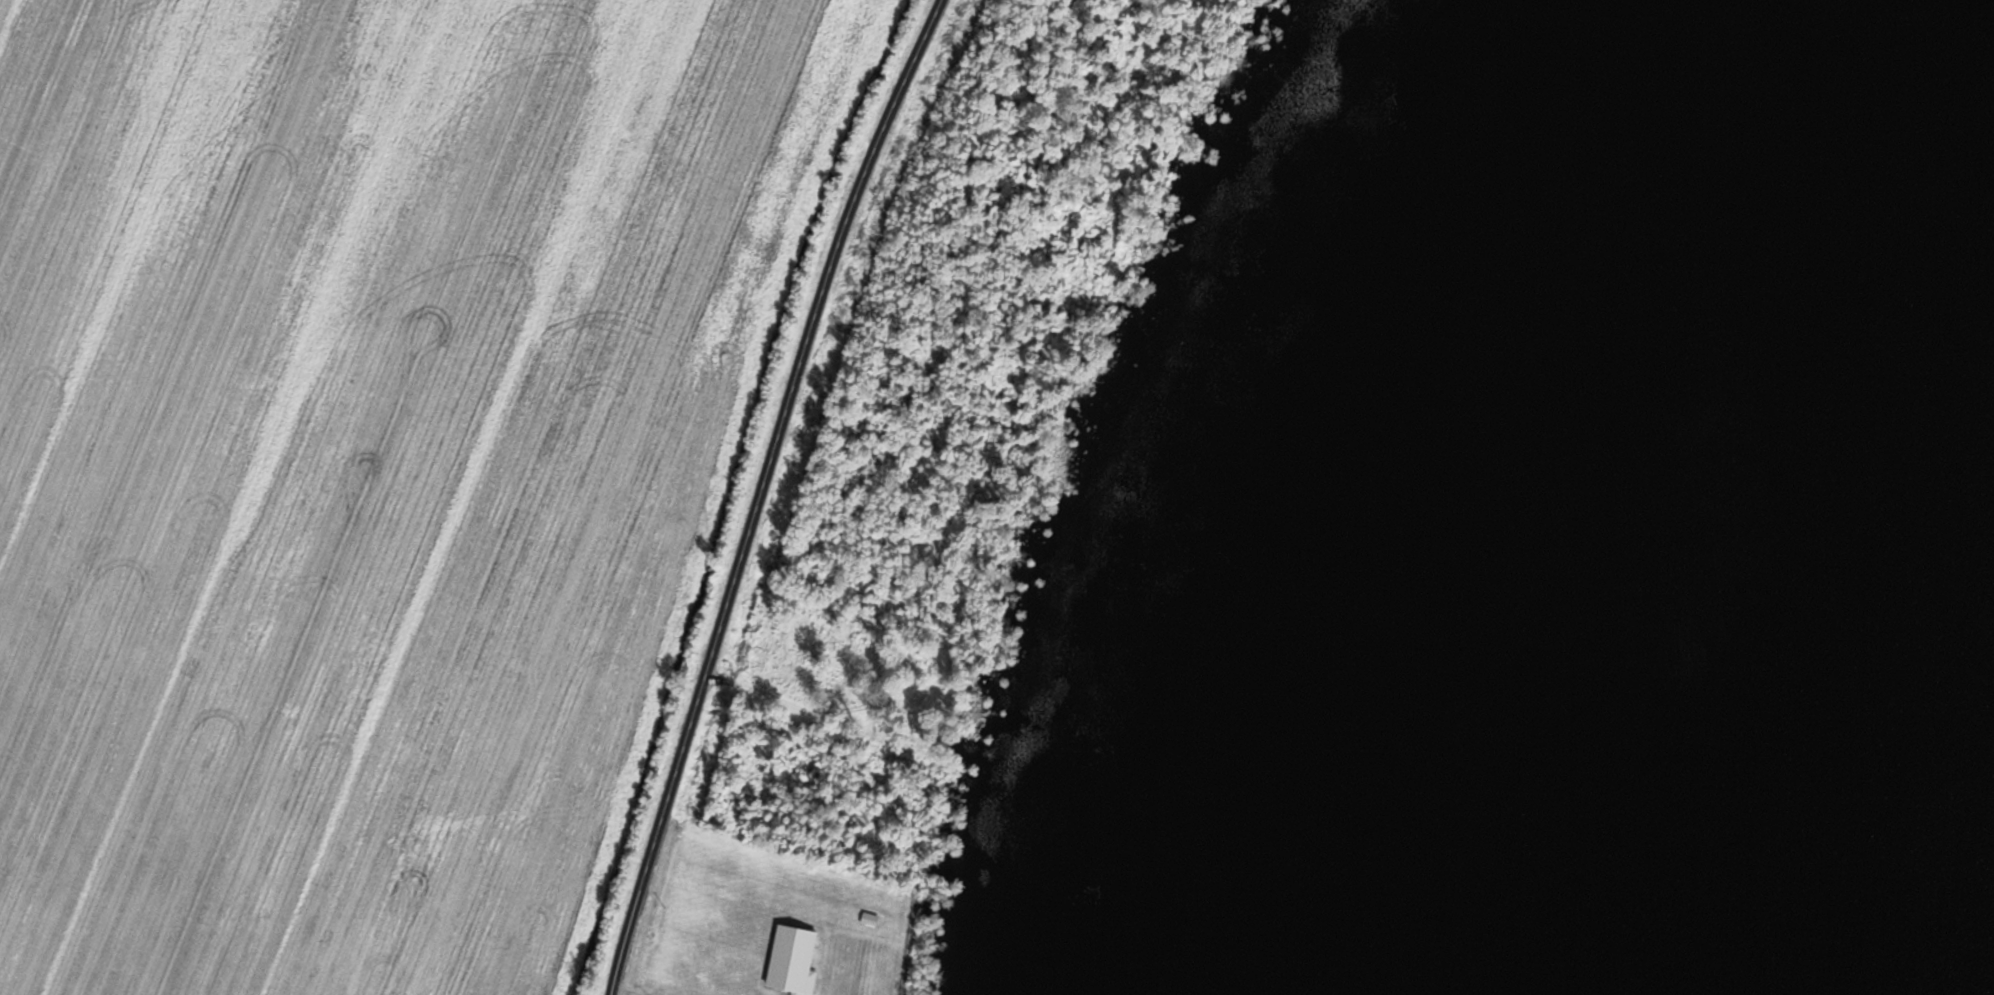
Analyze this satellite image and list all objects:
crop: (370, 460)
road: (766, 493)
building: (866, 919)
road: (624, 992)

